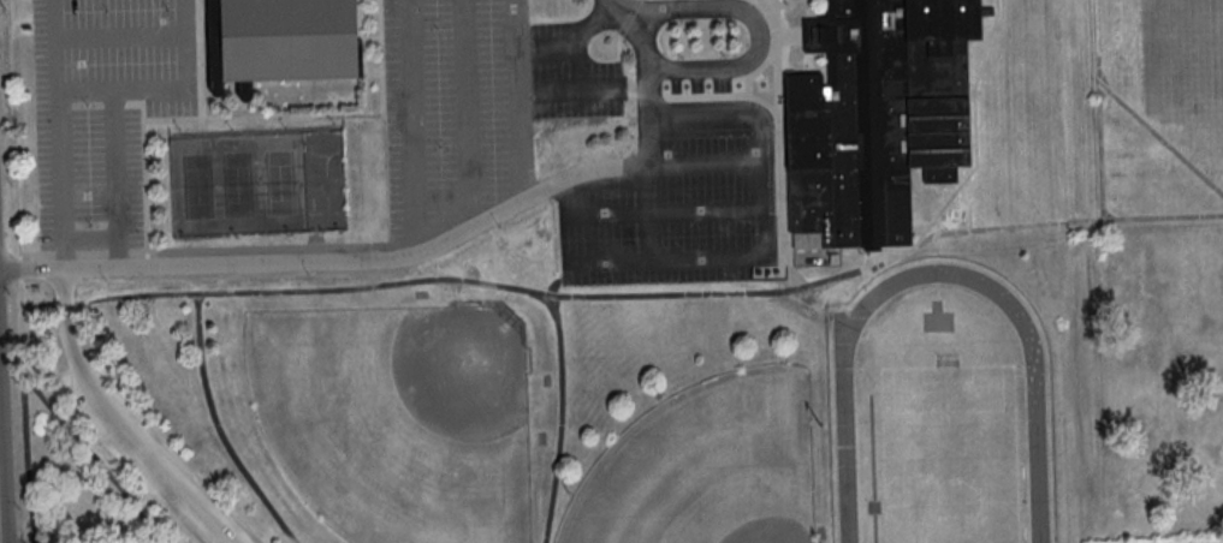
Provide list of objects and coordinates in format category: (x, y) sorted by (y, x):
road: (755, 19)
road: (119, 34)
road: (789, 34)
road: (984, 35)
road: (369, 38)
road: (572, 40)
building: (279, 41)
road: (618, 42)
road: (197, 59)
road: (577, 65)
road: (370, 70)
road: (165, 88)
road: (569, 91)
road: (969, 91)
road: (697, 95)
road: (520, 99)
road: (113, 102)
road: (85, 103)
road: (64, 105)
road: (1098, 108)
parking lot: (103, 109)
road: (467, 112)
road: (320, 115)
building: (877, 115)
road: (973, 124)
road: (412, 125)
road: (13, 127)
road: (58, 132)
road: (1156, 133)
road: (778, 141)
road: (958, 175)
road: (115, 177)
road: (144, 177)
park: (325, 180)
park: (238, 184)
road: (940, 191)
road: (649, 207)
road: (921, 221)
road: (768, 228)
road: (406, 252)
road: (64, 253)
road: (91, 253)
road: (118, 253)
road: (36, 255)
road: (872, 257)
road: (886, 257)
road: (19, 265)
park: (275, 271)
road: (866, 278)
road: (233, 290)
road: (129, 293)
road: (23, 329)
road: (41, 399)
park: (682, 412)
track: (939, 416)
park: (399, 417)
road: (559, 417)
road: (114, 422)
track: (845, 452)
park: (949, 453)
parking lot: (150, 457)
park: (707, 465)

